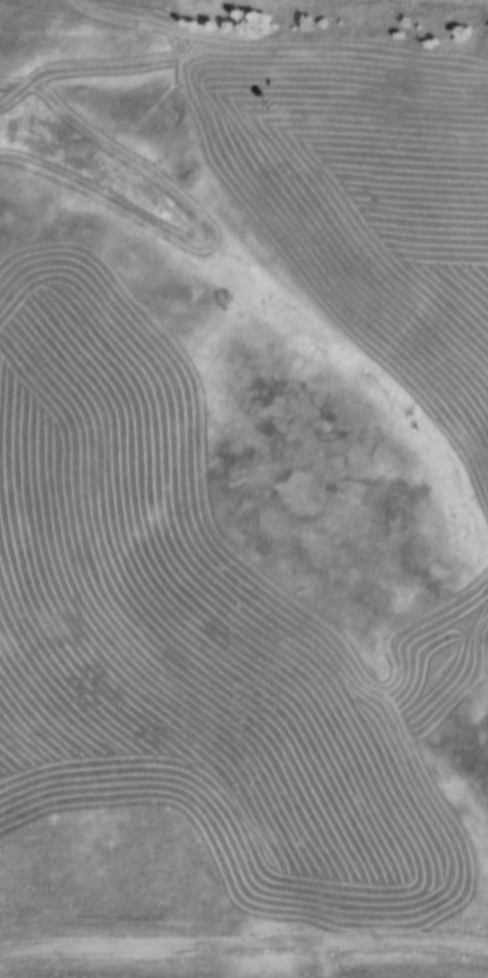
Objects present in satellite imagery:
road: (243, 944)

